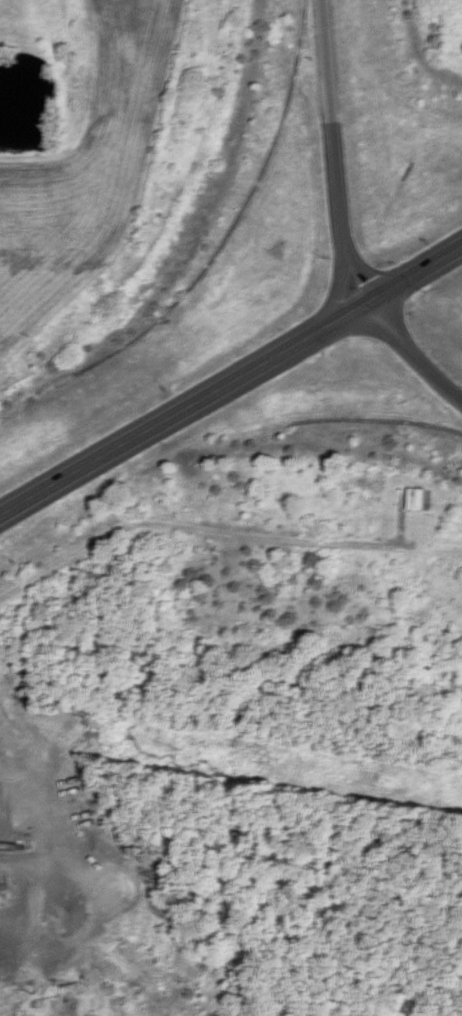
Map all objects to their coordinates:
road: (328, 125)
road: (360, 272)
road: (334, 291)
road: (411, 355)
road: (230, 381)
building: (413, 497)
road: (196, 535)

